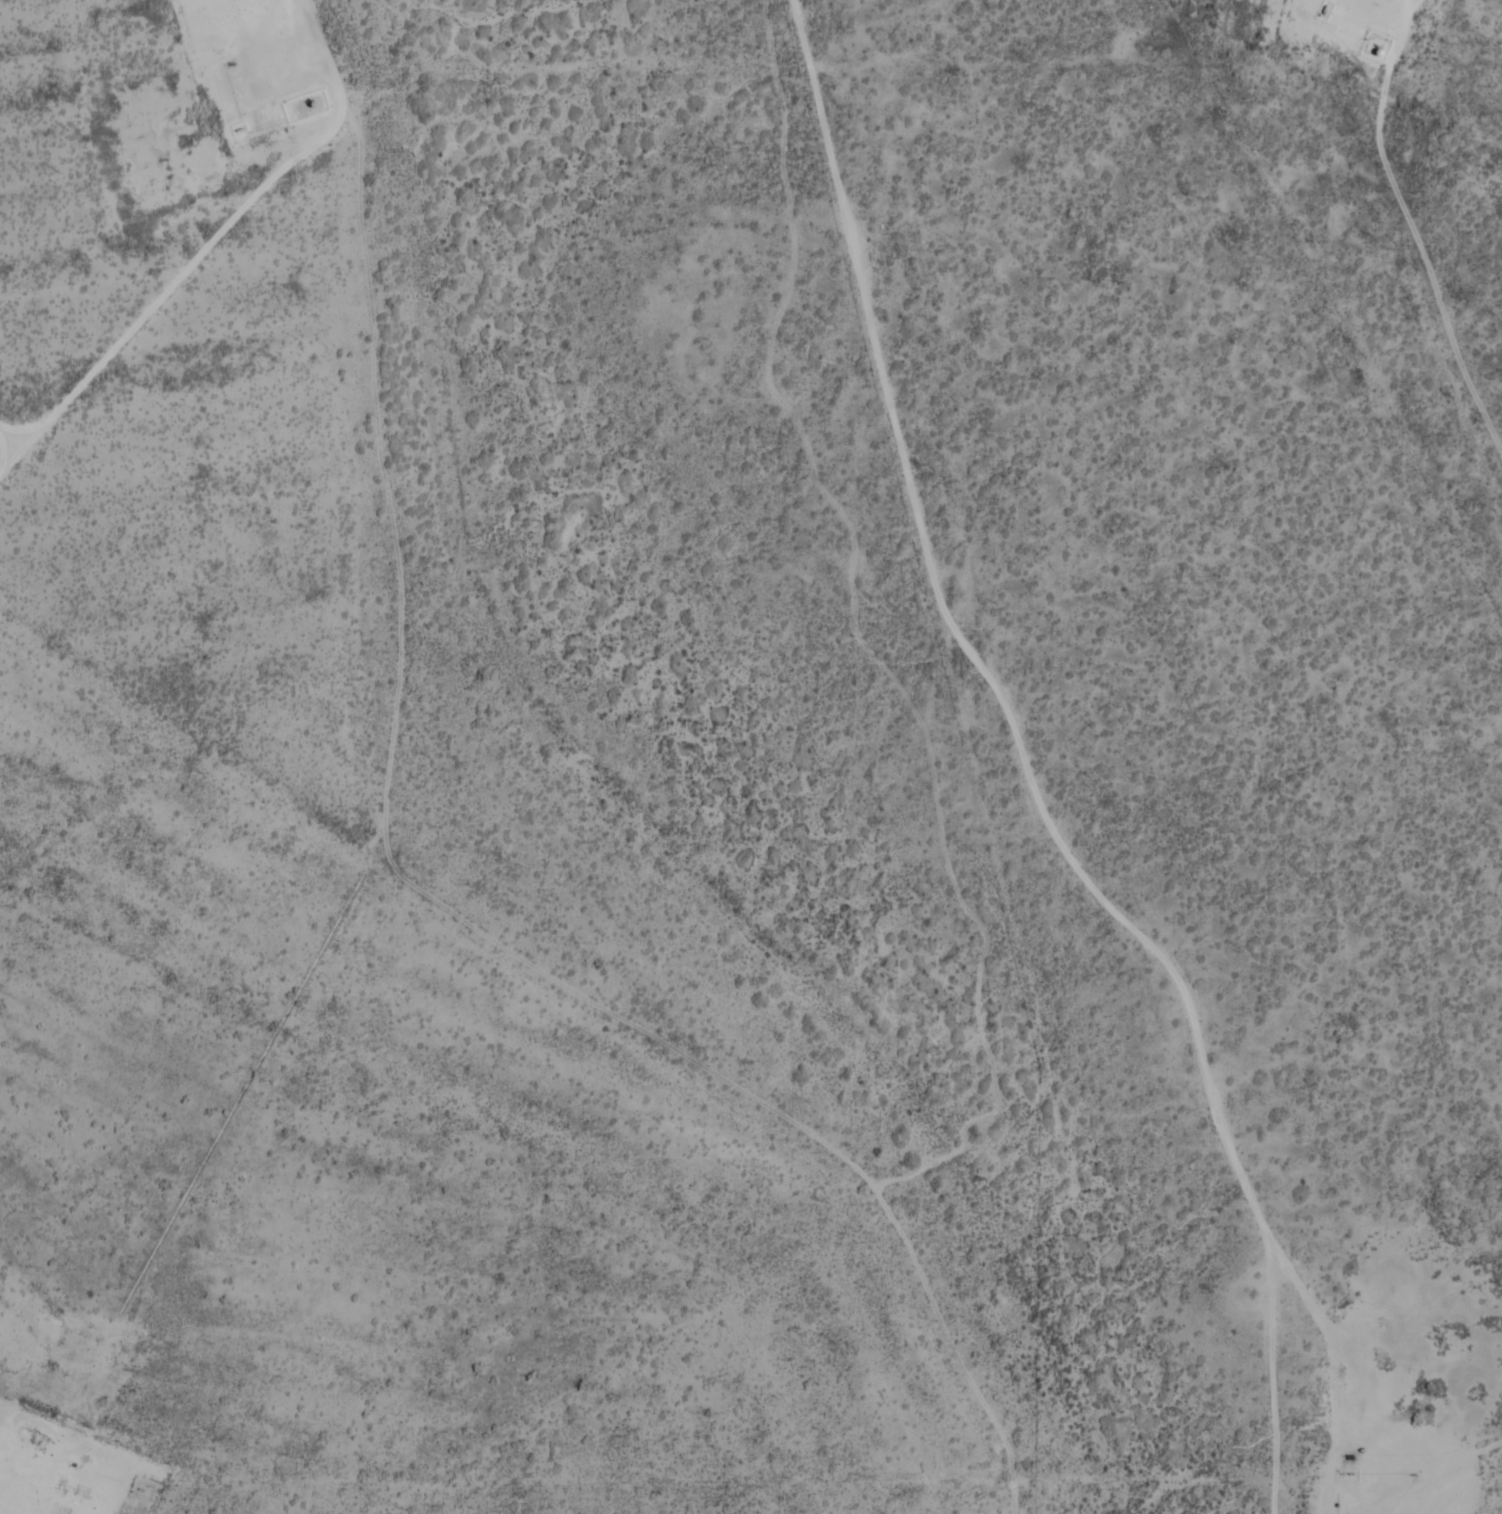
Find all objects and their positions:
road: (1413, 227)
road: (1003, 697)
road: (416, 888)
road: (1274, 1369)
road: (1438, 1477)

